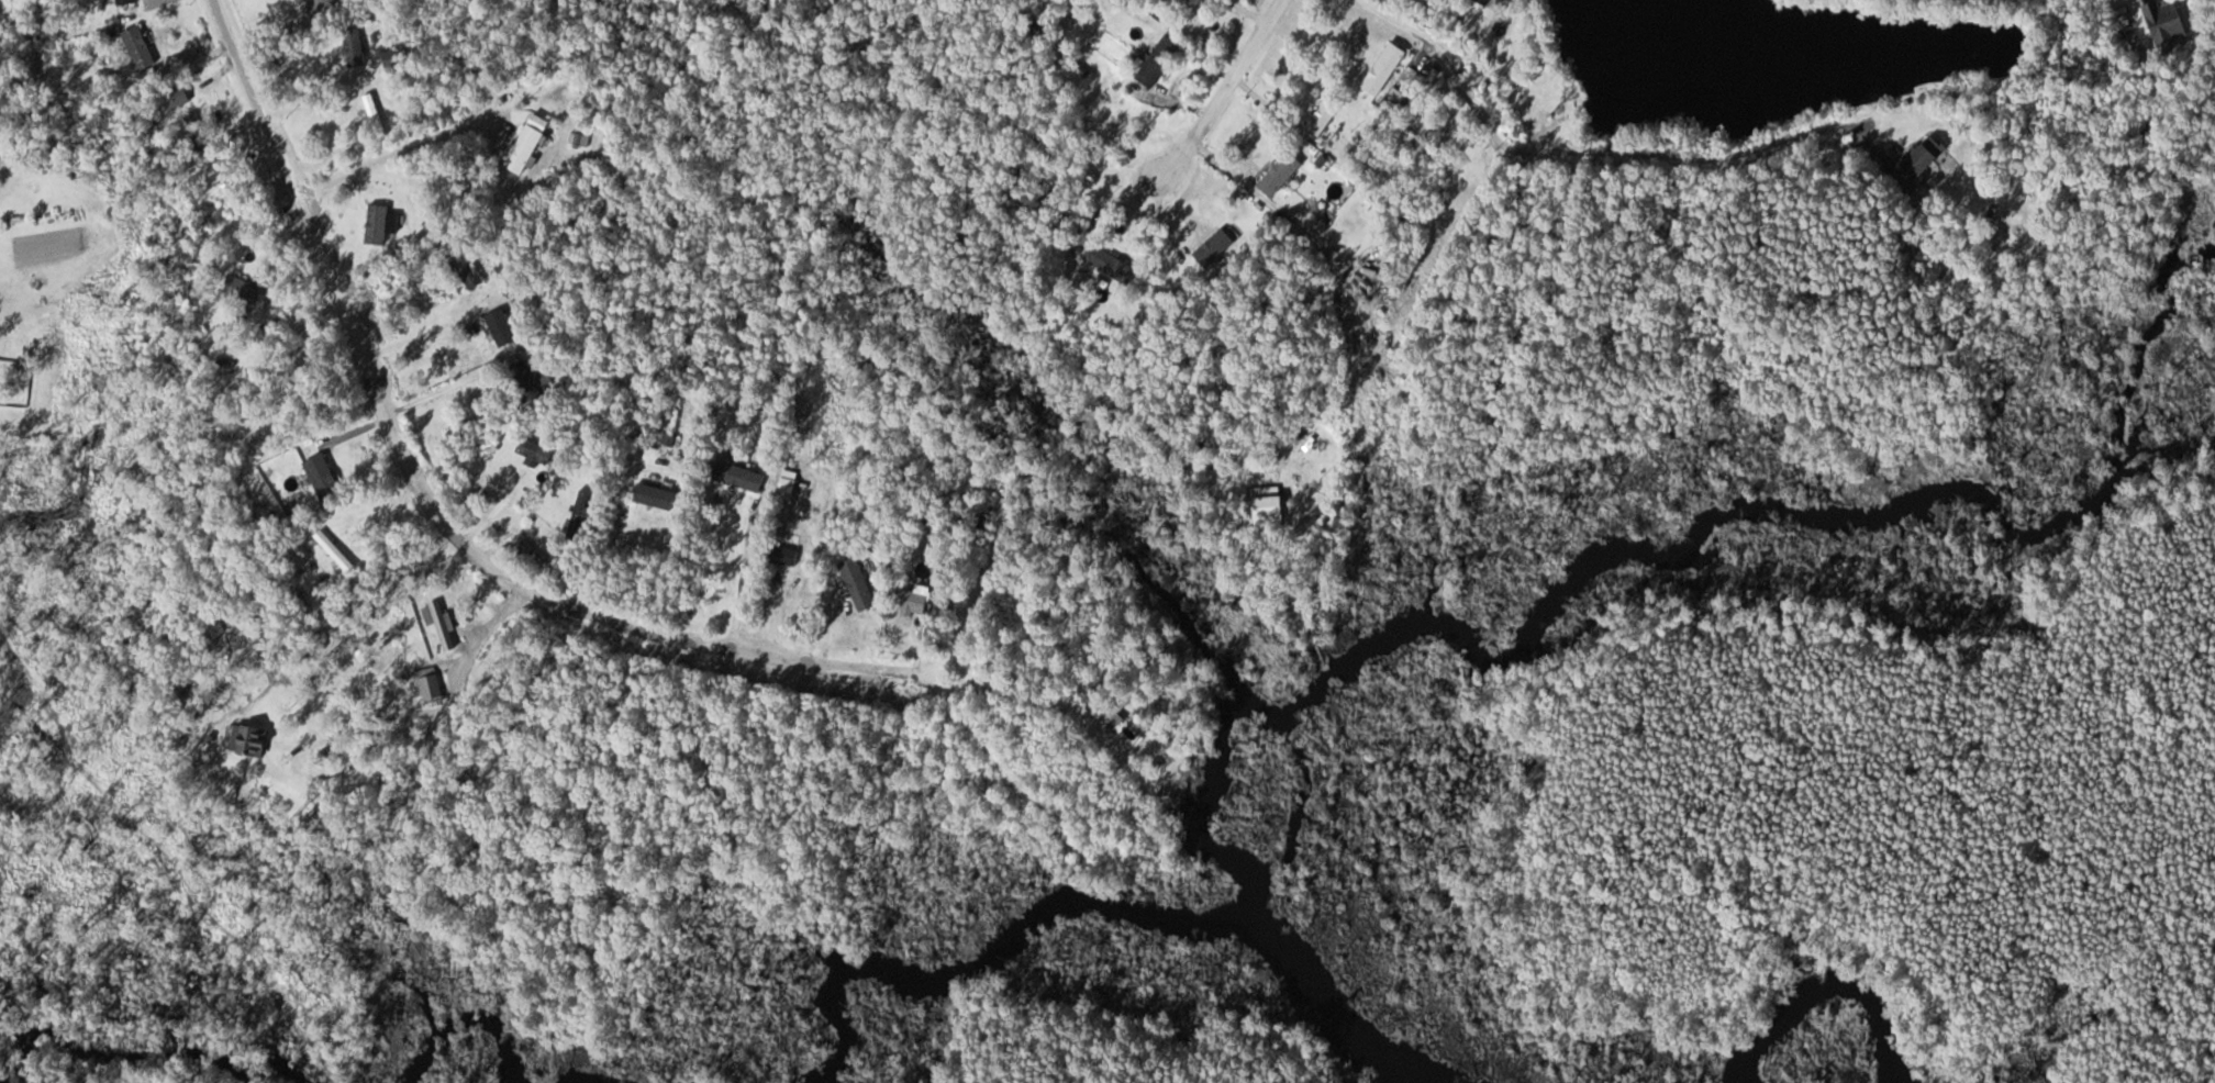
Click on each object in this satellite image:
building: (129, 1)
building: (1481, 1)
building: (1169, 2)
building: (323, 5)
building: (2157, 21)
building: (141, 41)
building: (360, 51)
road: (1242, 58)
building: (1151, 60)
building: (1378, 67)
building: (1390, 97)
building: (1317, 115)
building: (201, 130)
building: (532, 147)
road: (1582, 154)
building: (1914, 156)
building: (1273, 174)
building: (383, 223)
building: (1209, 246)
building: (1104, 264)
building: (469, 268)
building: (254, 290)
building: (505, 327)
building: (534, 378)
building: (537, 451)
building: (326, 476)
building: (744, 476)
road: (428, 496)
building: (660, 496)
building: (1260, 503)
building: (583, 511)
building: (536, 554)
building: (862, 583)
building: (906, 599)
building: (447, 628)
building: (432, 685)
building: (1106, 708)
building: (263, 745)

